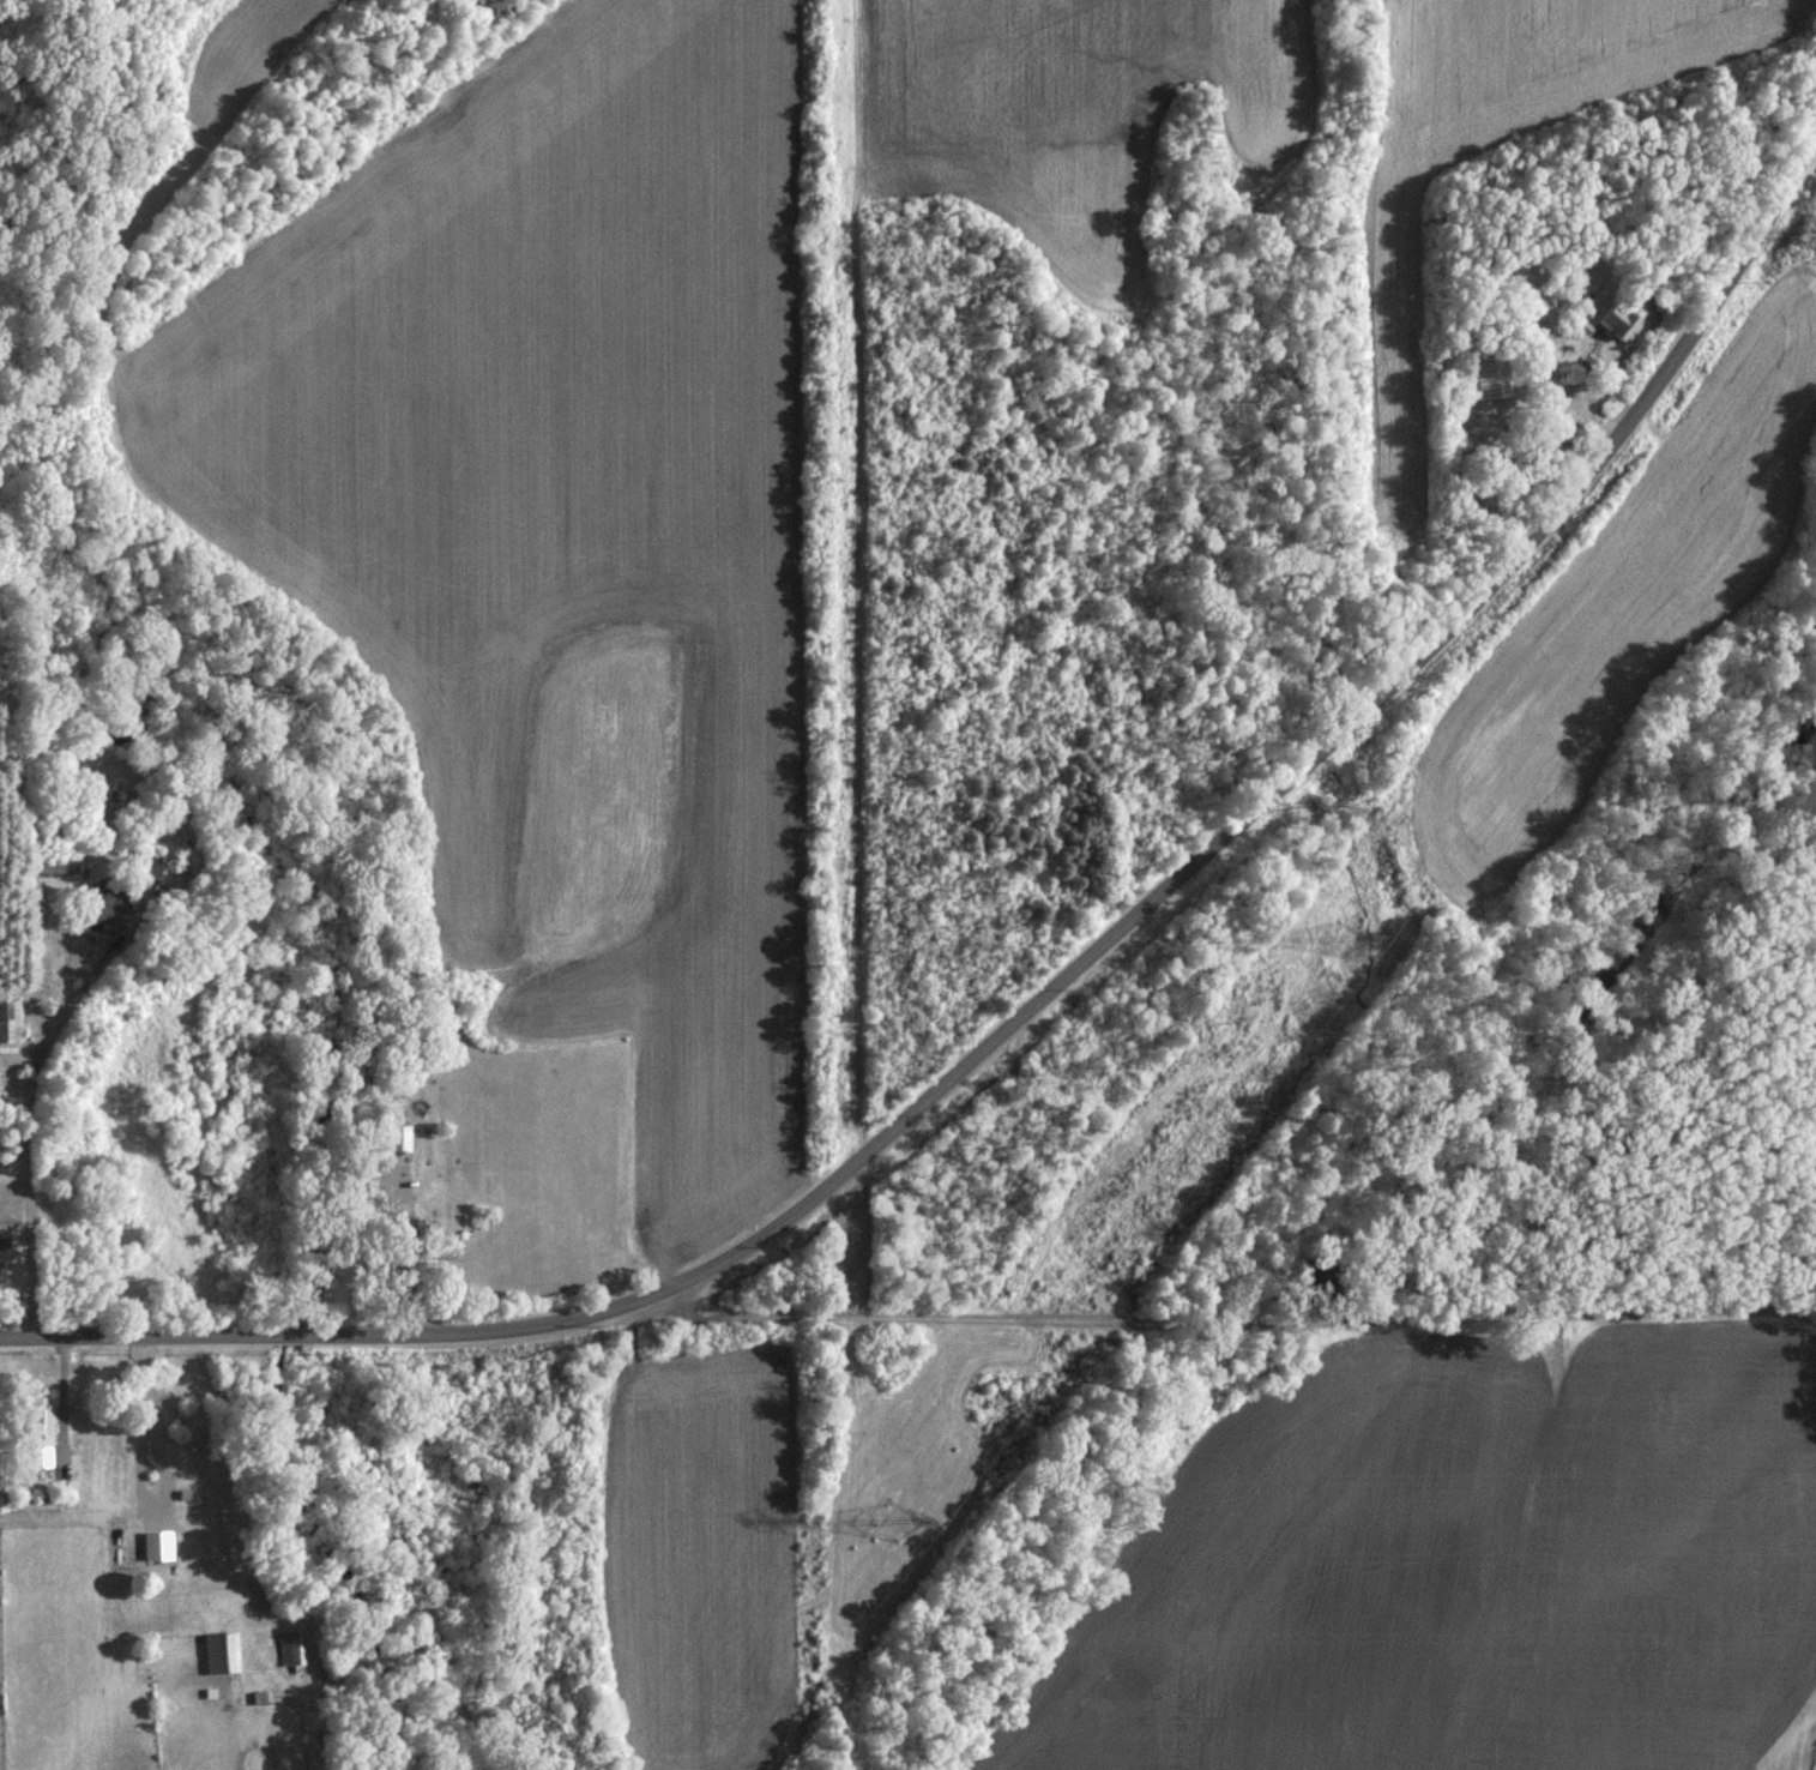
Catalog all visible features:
power tower: (1341, 941)
road: (1048, 994)
road: (26, 1112)
road: (163, 1465)
power tower: (895, 1524)

